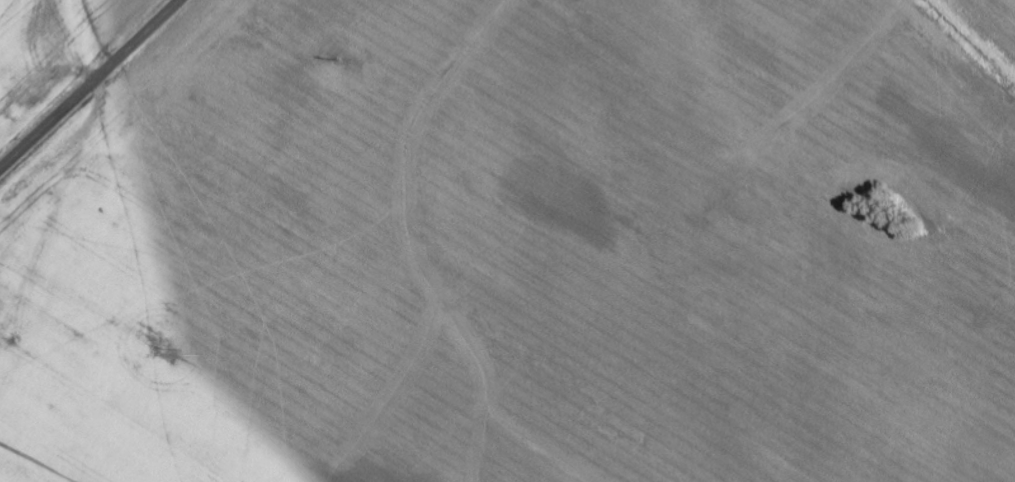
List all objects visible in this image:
road: (89, 84)

